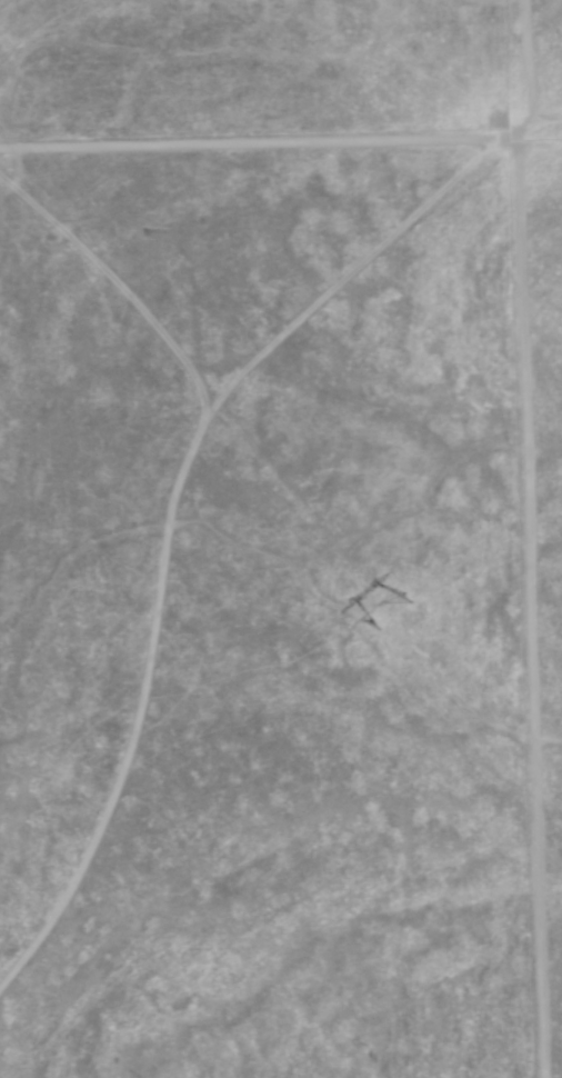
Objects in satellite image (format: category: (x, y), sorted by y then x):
power tower: (383, 605)

